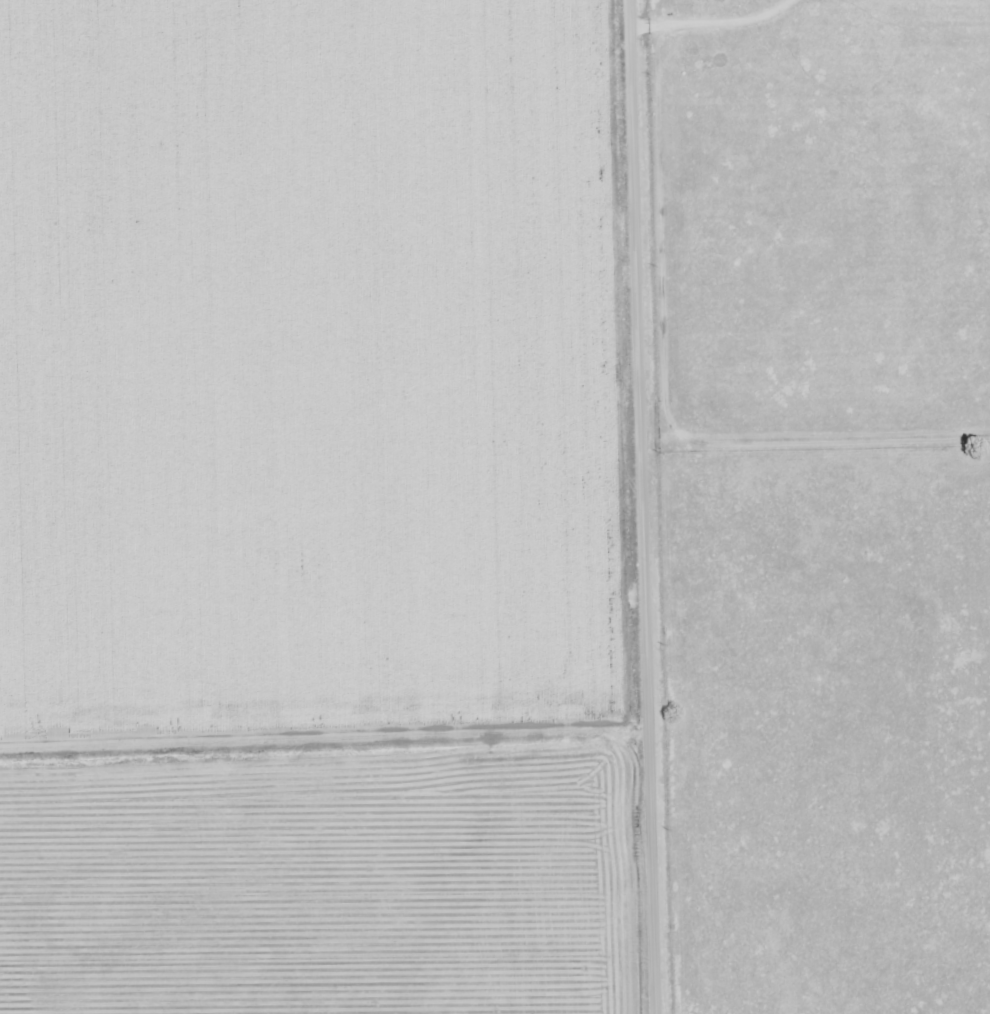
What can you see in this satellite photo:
road: (645, 507)

